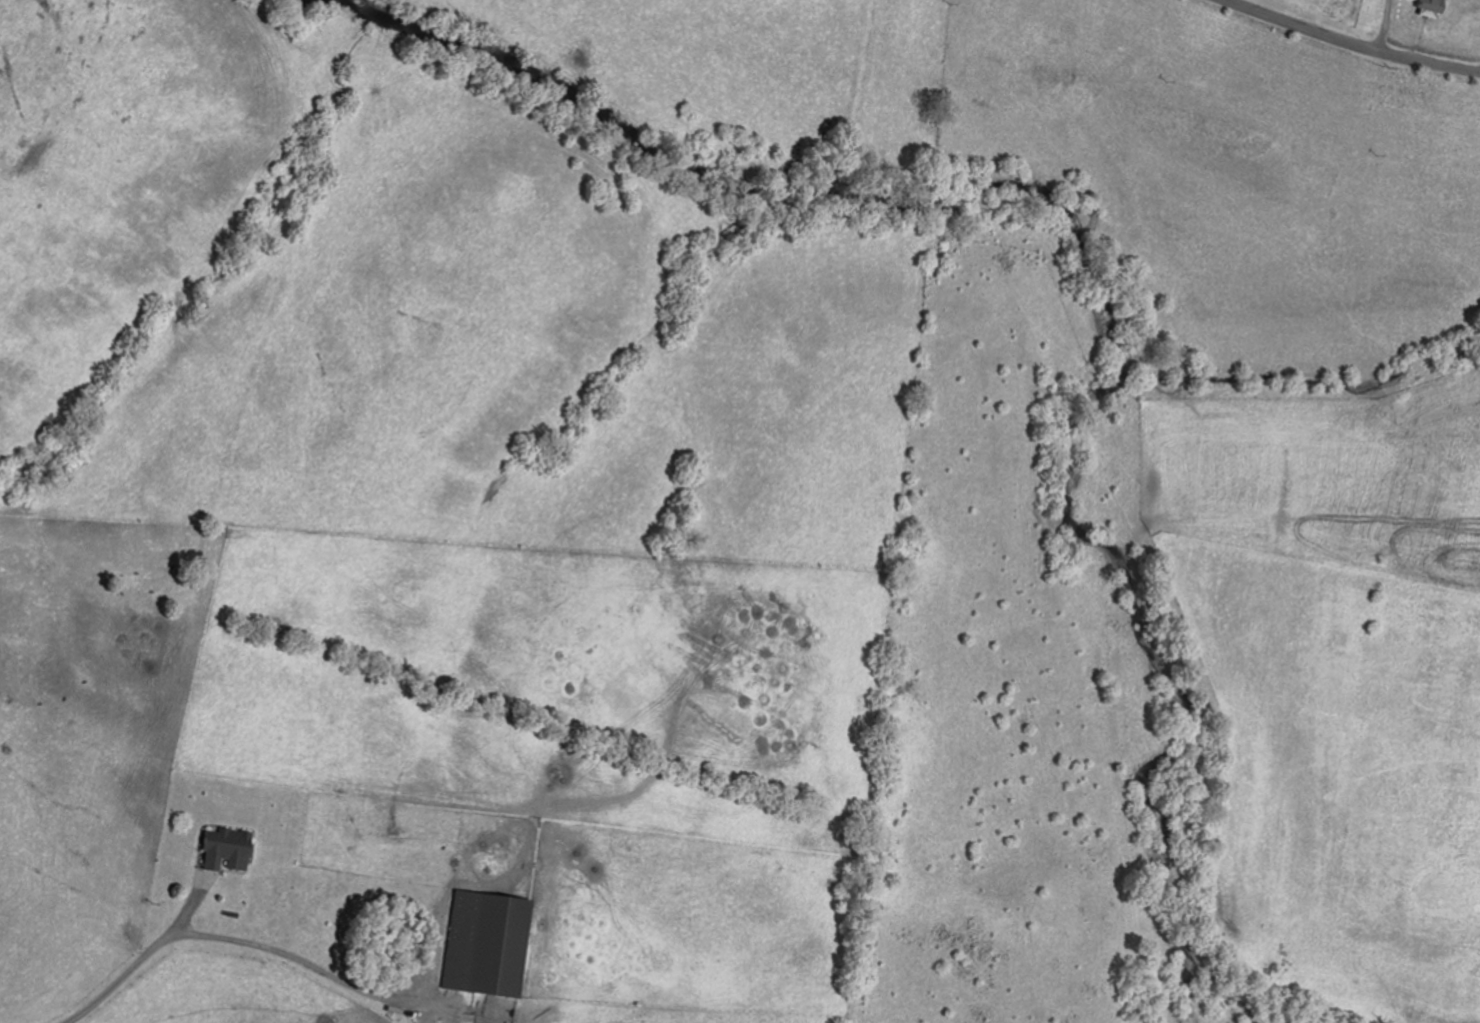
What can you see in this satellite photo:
building: (1424, 7)
road: (1350, 44)
building: (230, 848)
building: (483, 946)

